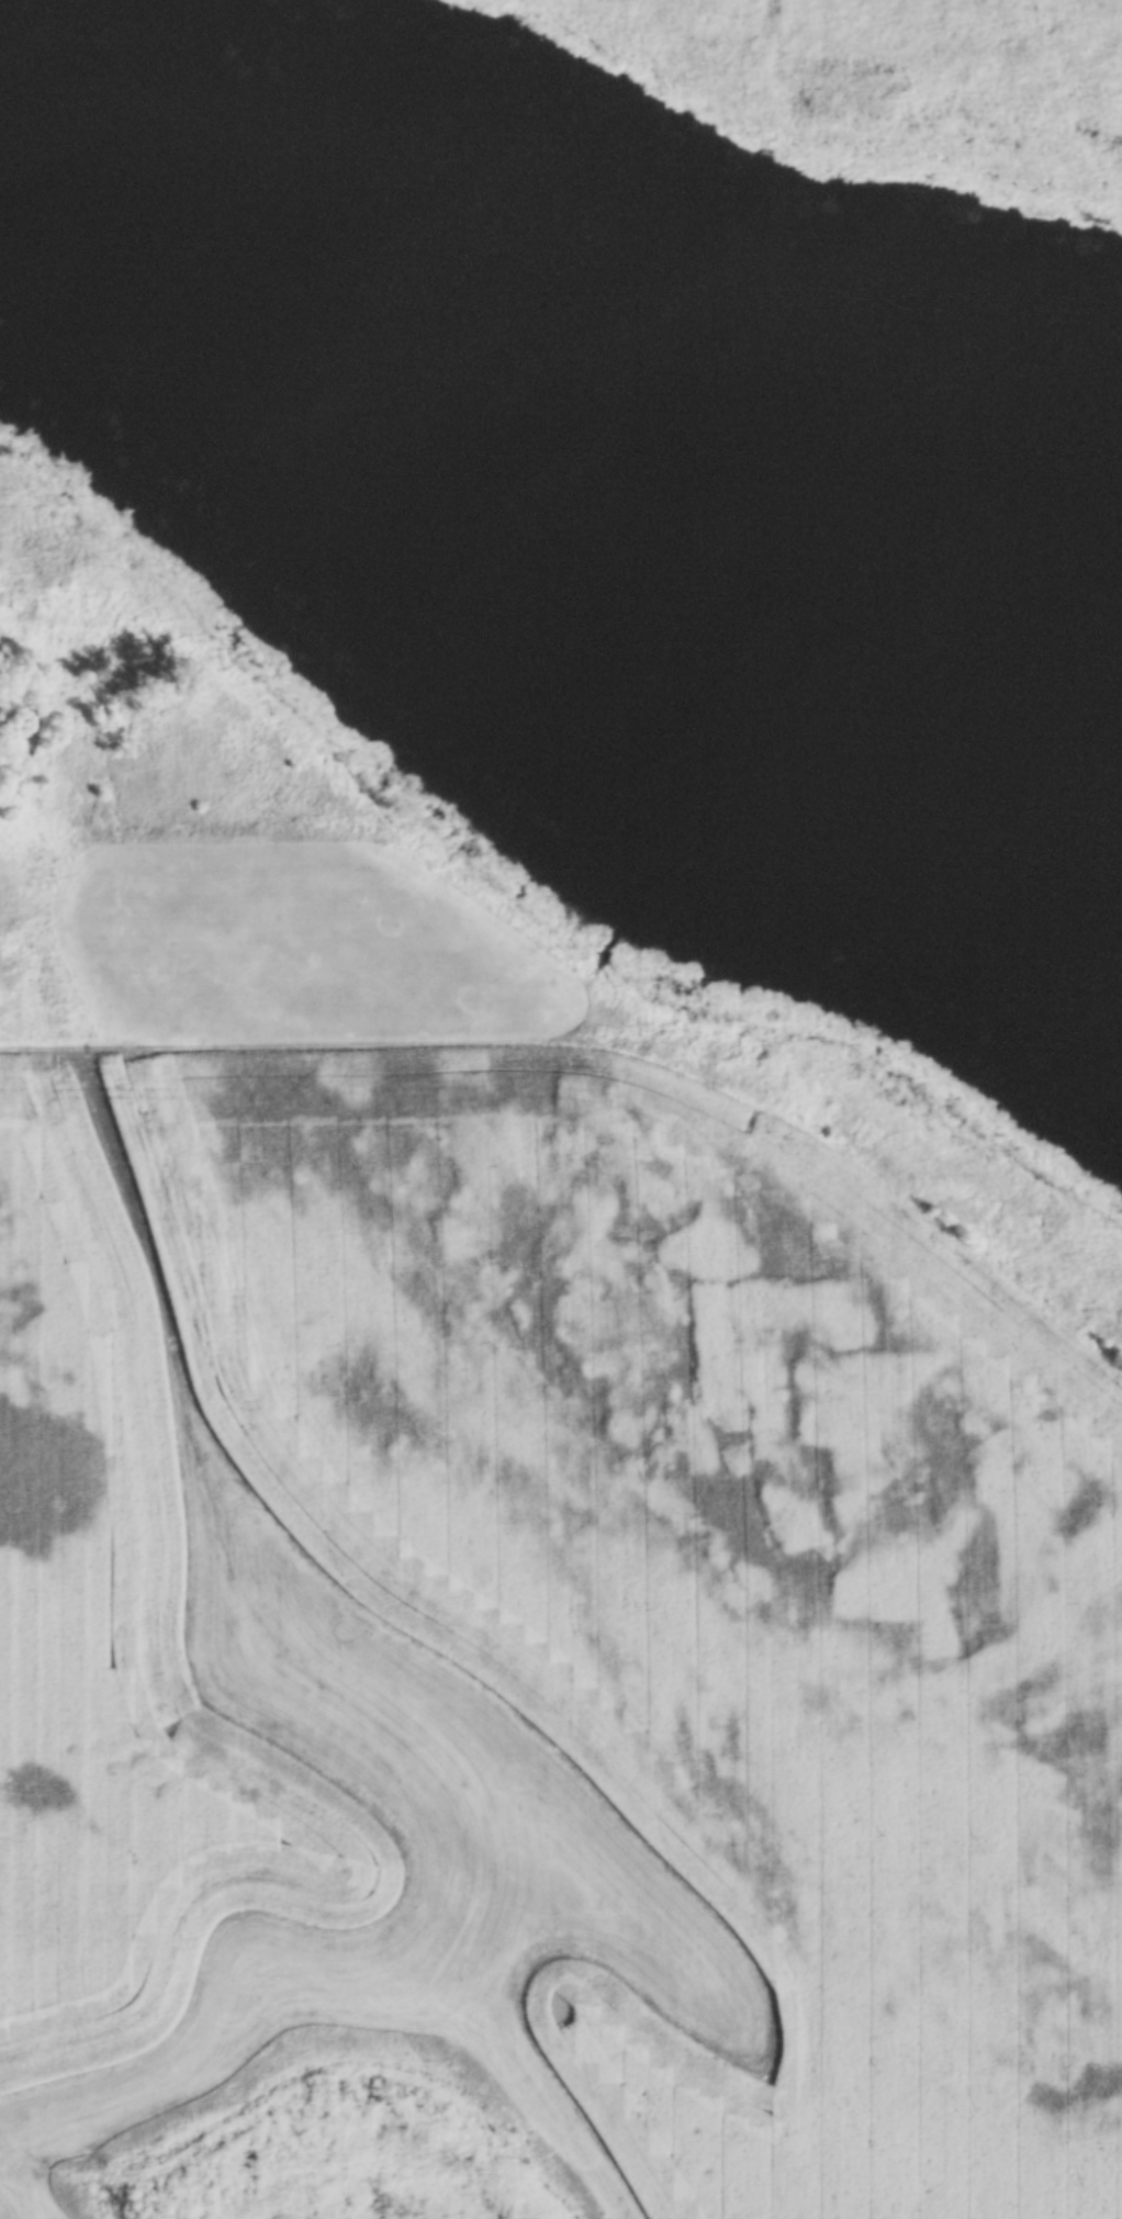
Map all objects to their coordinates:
road: (338, 1052)
road: (915, 1076)

